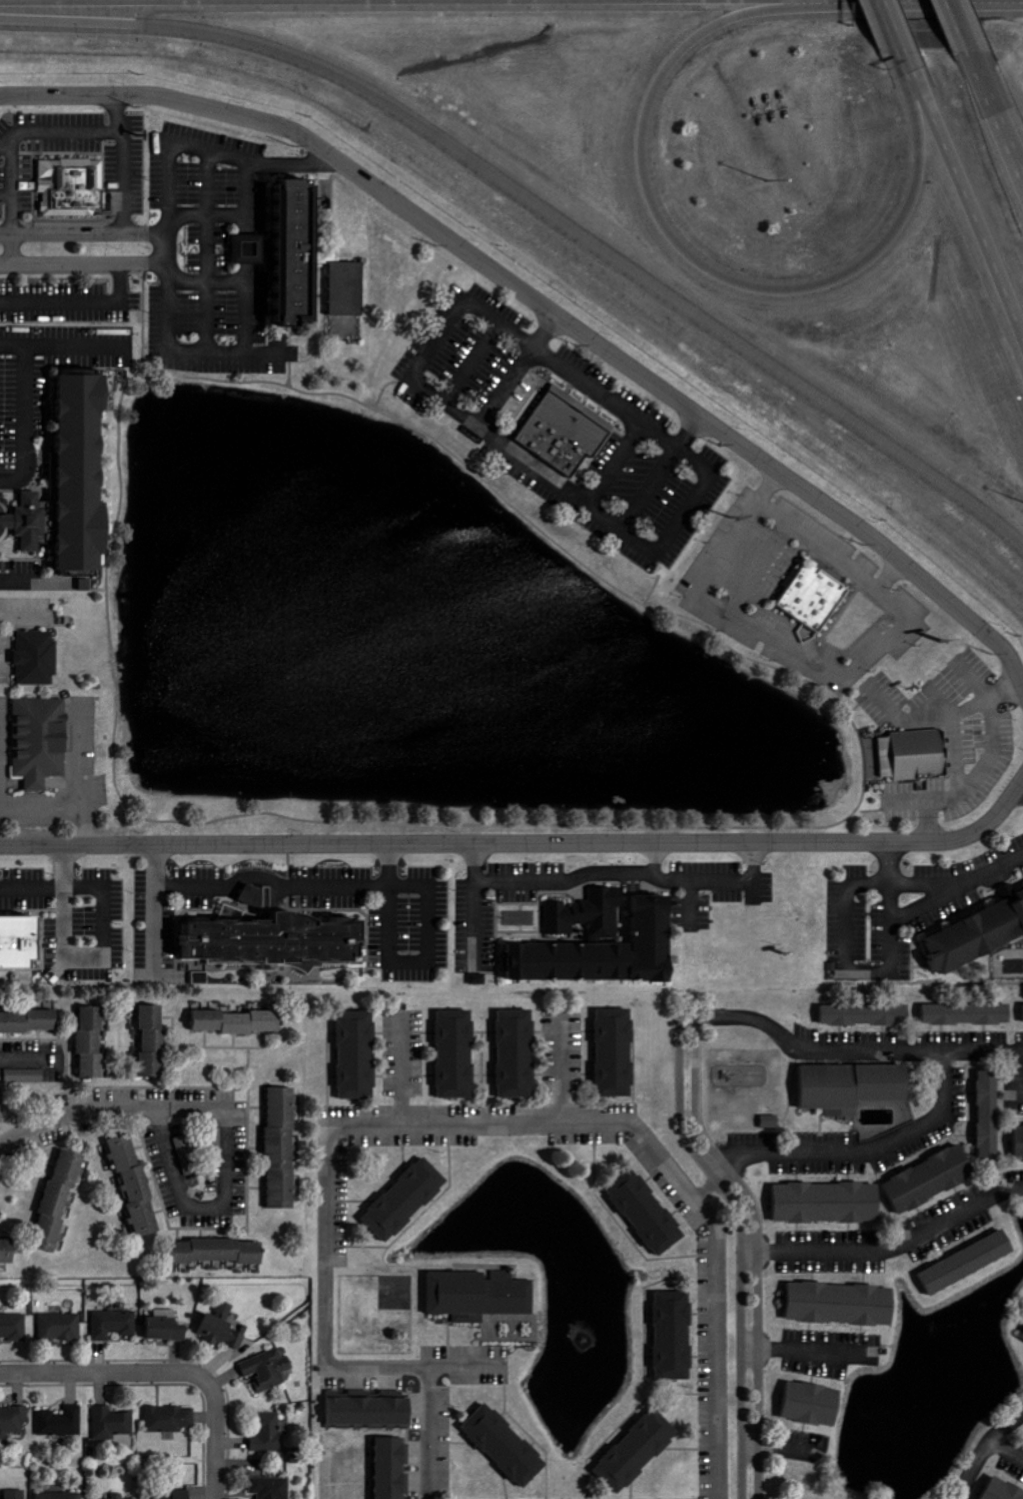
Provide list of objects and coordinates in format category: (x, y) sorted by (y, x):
road: (891, 26)
road: (959, 26)
road: (908, 65)
road: (997, 112)
road: (115, 116)
road: (69, 139)
road: (4, 146)
road: (222, 152)
road: (288, 164)
building: (68, 190)
road: (5, 200)
road: (971, 201)
road: (541, 206)
road: (70, 235)
building: (256, 245)
road: (165, 249)
building: (313, 261)
road: (69, 262)
road: (705, 269)
road: (77, 299)
road: (548, 308)
road: (233, 350)
road: (607, 399)
building: (561, 430)
building: (75, 480)
road: (815, 541)
road: (107, 575)
building: (809, 597)
road: (773, 637)
building: (32, 655)
road: (854, 708)
building: (37, 738)
building: (911, 753)
road: (1020, 788)
road: (63, 803)
road: (869, 810)
road: (129, 815)
road: (121, 827)
road: (524, 843)
road: (559, 879)
road: (718, 880)
road: (276, 881)
road: (942, 884)
road: (54, 893)
building: (1022, 894)
building: (980, 940)
building: (277, 942)
building: (603, 943)
building: (22, 945)
building: (480, 979)
building: (970, 1015)
building: (865, 1016)
building: (30, 1021)
building: (241, 1022)
building: (155, 1042)
building: (93, 1043)
building: (617, 1053)
building: (518, 1054)
building: (458, 1055)
building: (359, 1056)
road: (19, 1058)
road: (558, 1070)
road: (404, 1074)
building: (26, 1076)
building: (857, 1088)
road: (687, 1096)
road: (102, 1111)
building: (992, 1114)
building: (770, 1122)
road: (507, 1125)
building: (1021, 1135)
building: (284, 1149)
road: (863, 1154)
building: (934, 1180)
building: (137, 1186)
building: (408, 1200)
building: (61, 1201)
building: (831, 1204)
road: (191, 1206)
building: (648, 1212)
road: (893, 1250)
building: (220, 1252)
building: (8, 1253)
building: (970, 1263)
building: (482, 1295)
building: (845, 1305)
building: (114, 1323)
building: (61, 1326)
building: (224, 1326)
building: (14, 1327)
building: (167, 1329)
building: (1020, 1335)
building: (676, 1336)
road: (814, 1353)
building: (269, 1368)
road: (106, 1374)
road: (434, 1395)
building: (815, 1403)
building: (373, 1411)
building: (14, 1418)
building: (170, 1418)
building: (62, 1422)
building: (113, 1422)
building: (270, 1432)
road: (216, 1441)
building: (508, 1444)
road: (786, 1449)
building: (639, 1450)
road: (983, 1451)
road: (1005, 1451)
building: (392, 1466)
building: (272, 1487)
building: (16, 1494)
building: (61, 1495)
building: (177, 1495)
building: (119, 1496)

